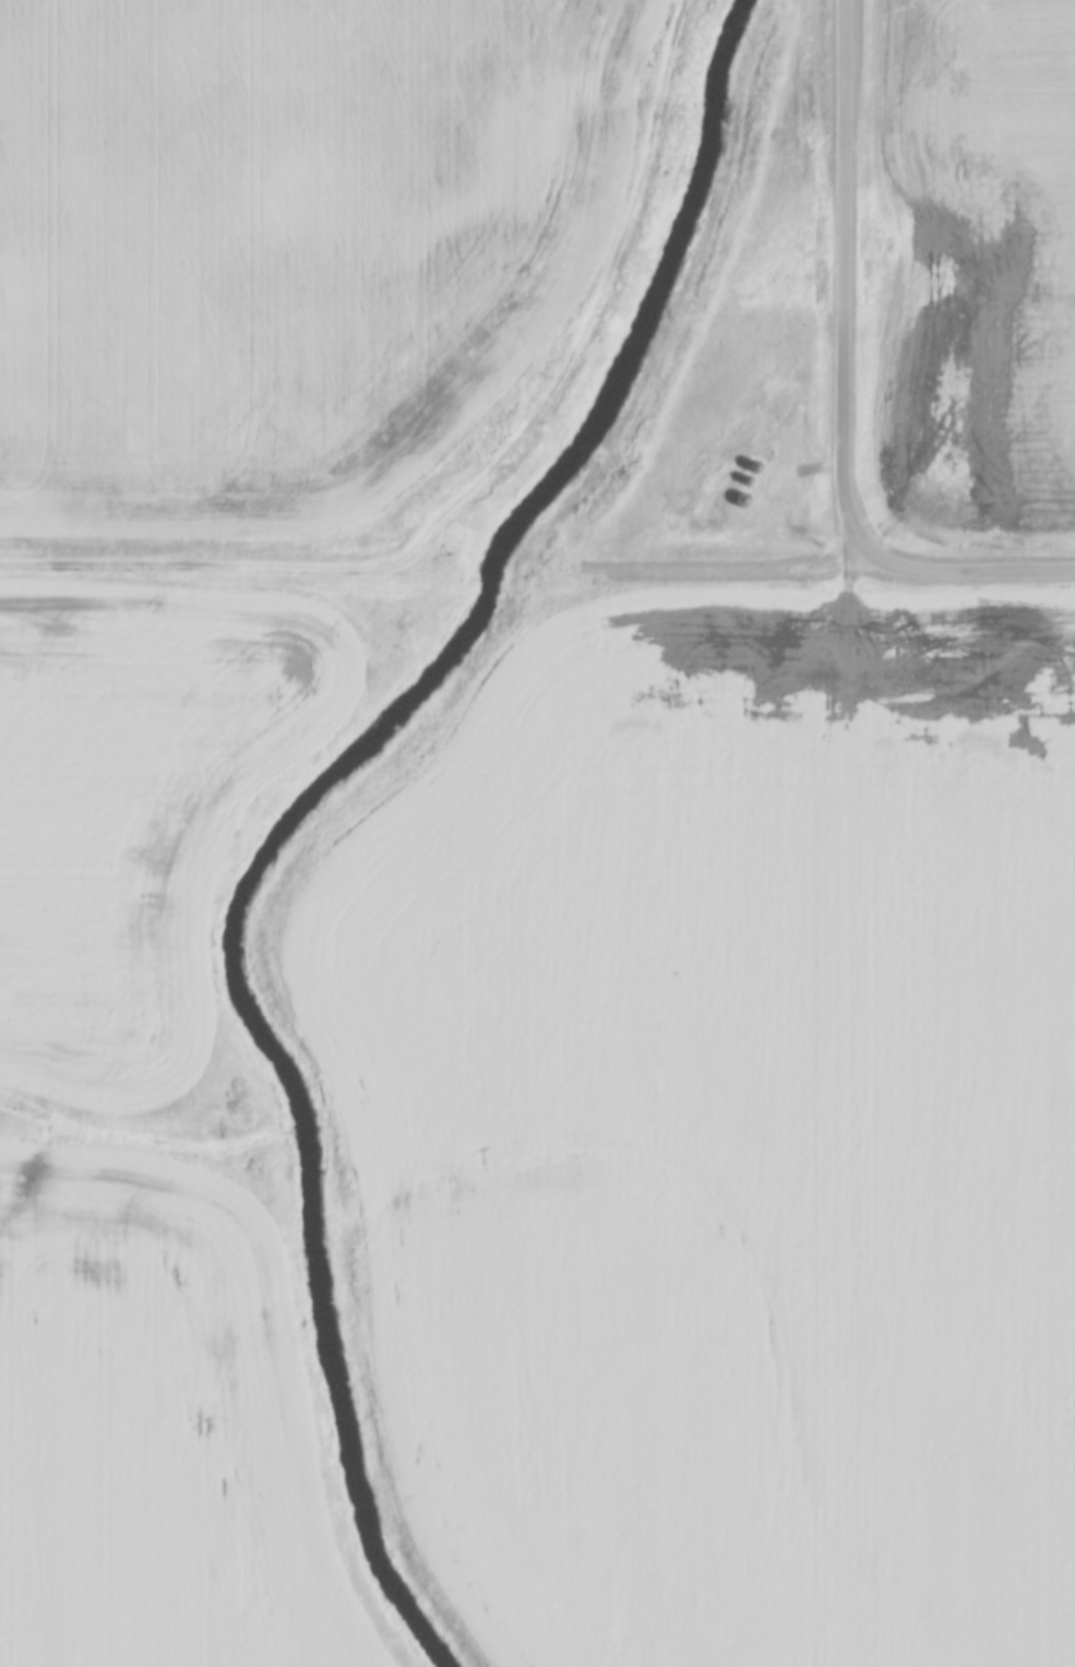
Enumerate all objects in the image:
road: (844, 277)
road: (602, 299)
road: (212, 564)
road: (969, 564)

